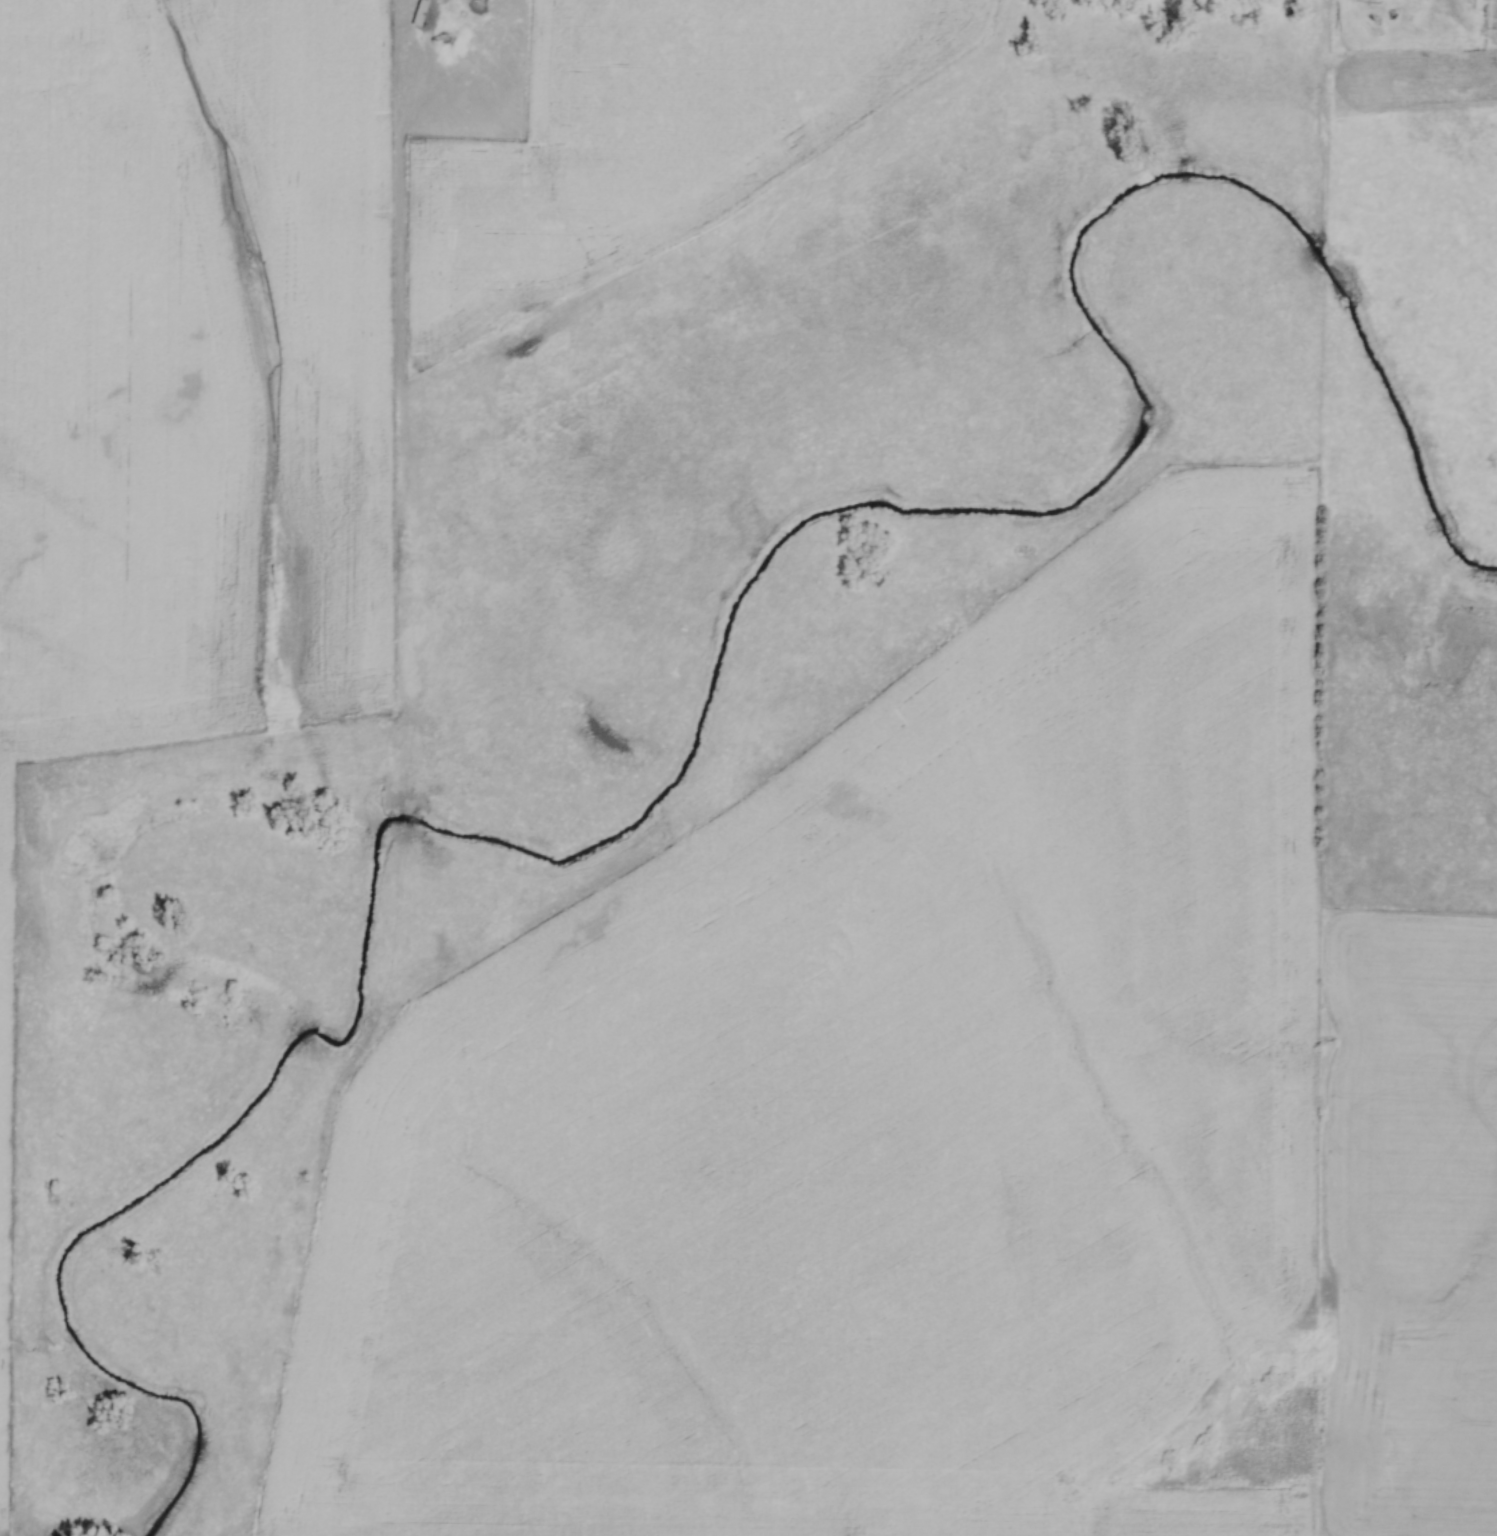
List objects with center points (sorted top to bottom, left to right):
building: (408, 8)

